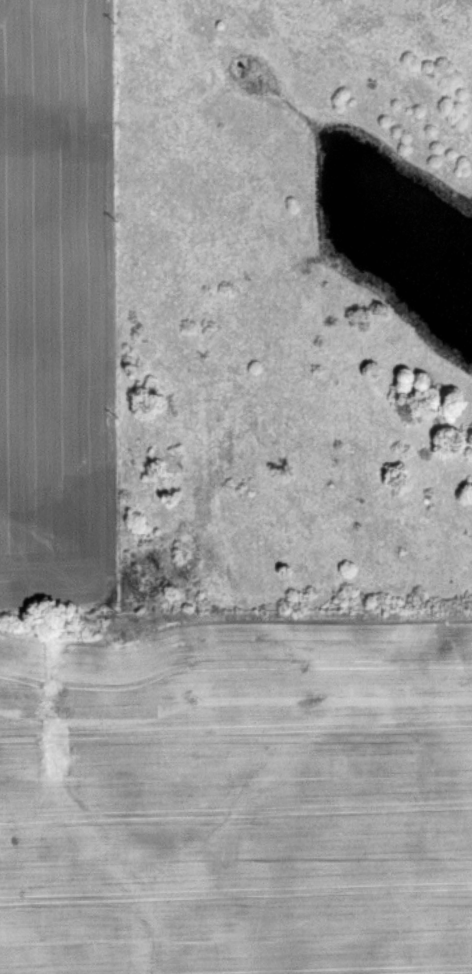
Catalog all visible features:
crop: (57, 305)
crop: (236, 790)

